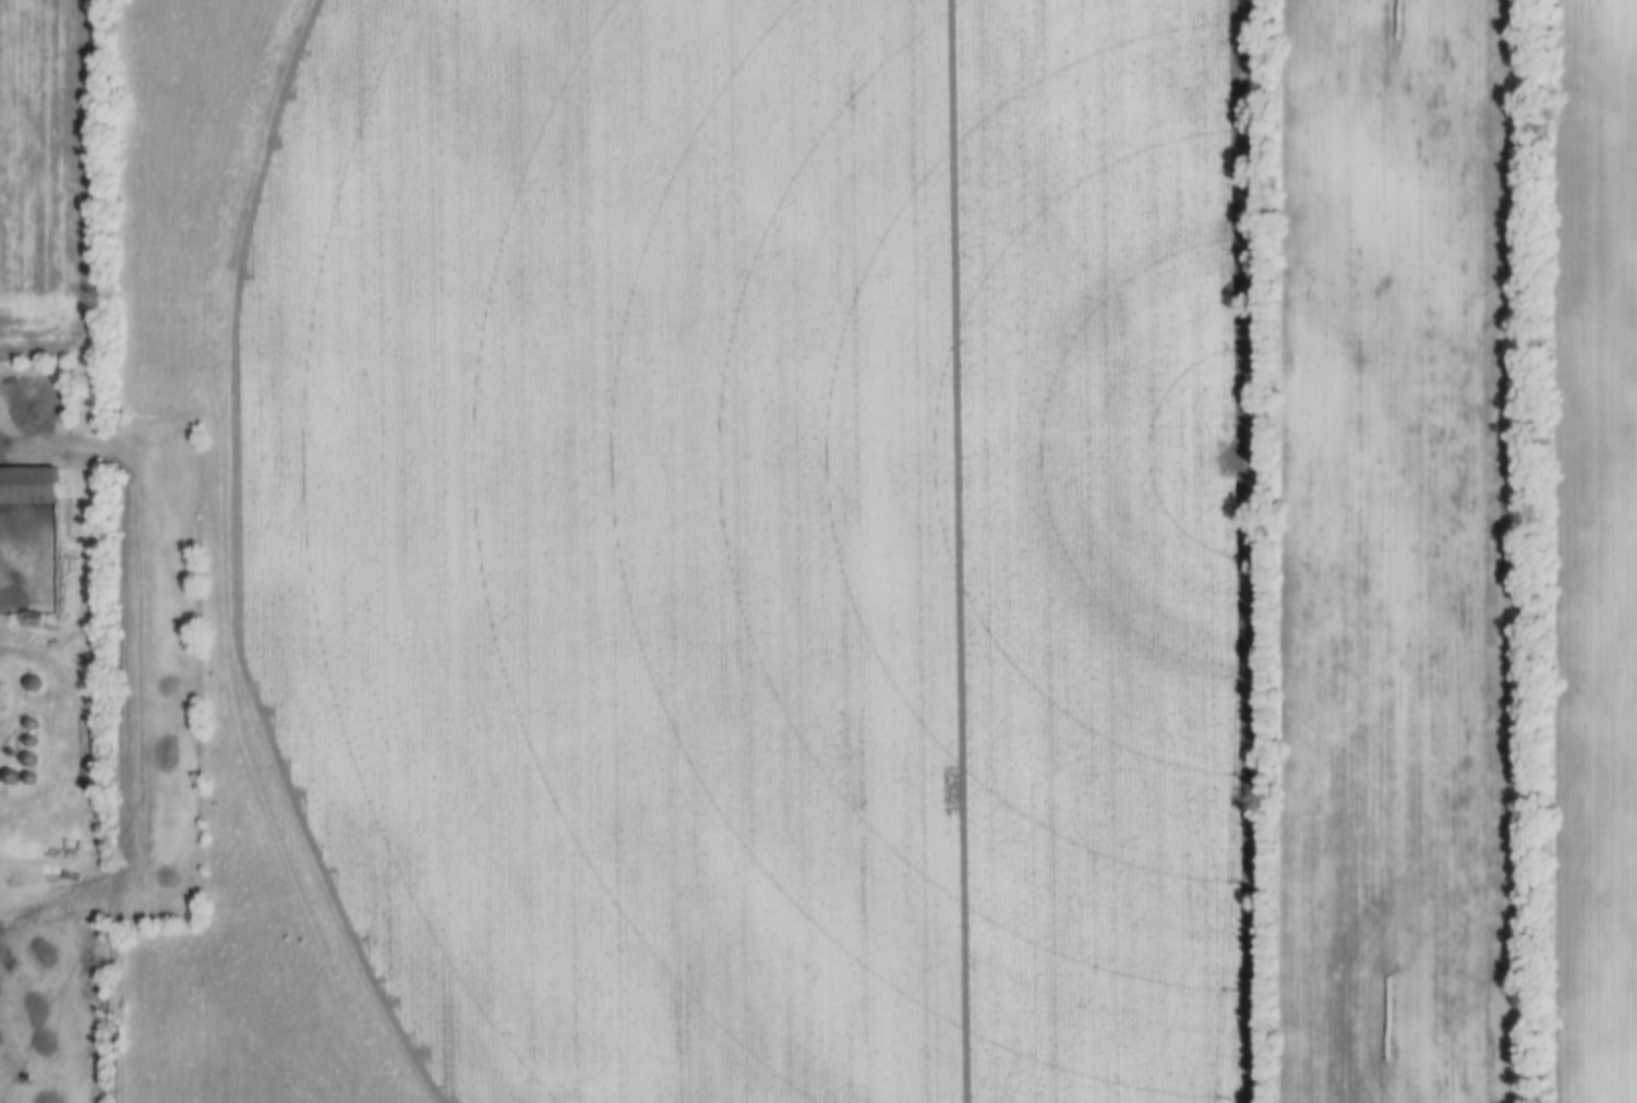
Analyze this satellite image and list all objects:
road: (1280, 235)
building: (28, 485)
road: (67, 728)

